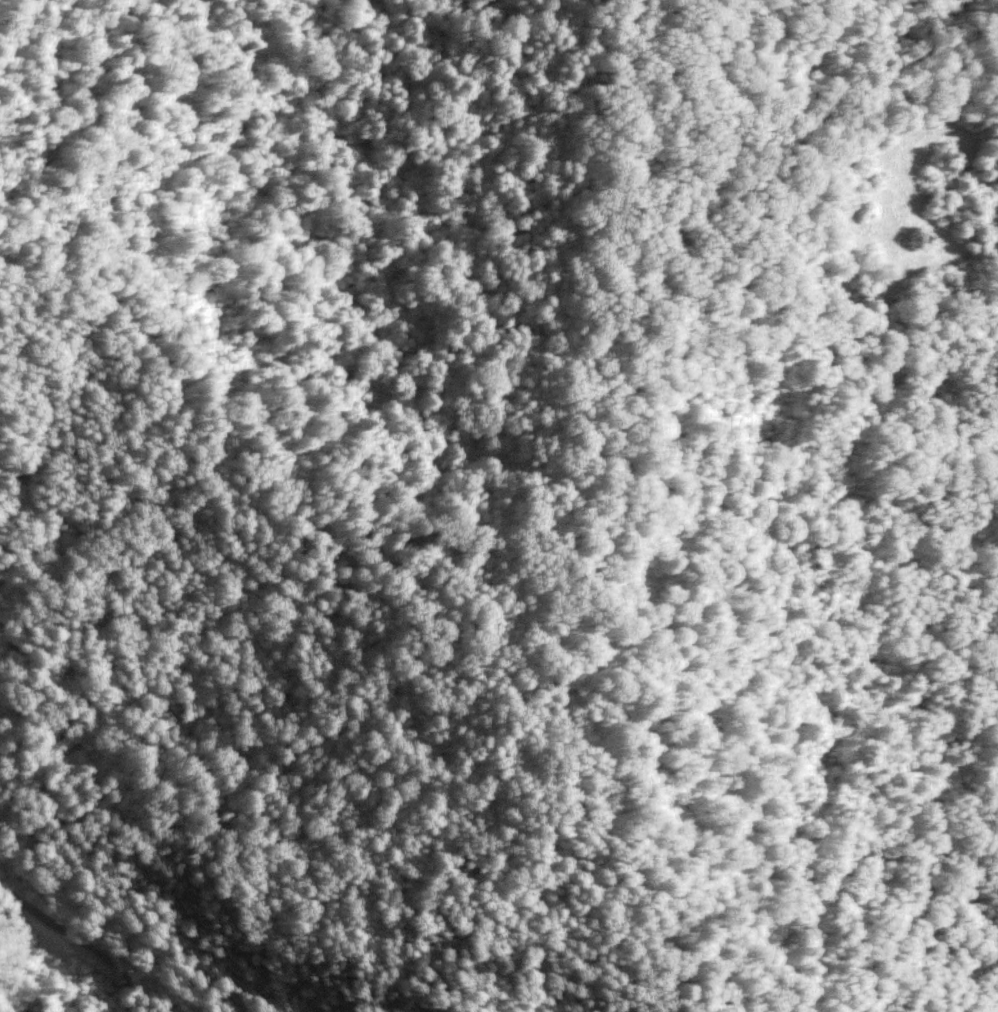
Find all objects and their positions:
road: (90, 948)

